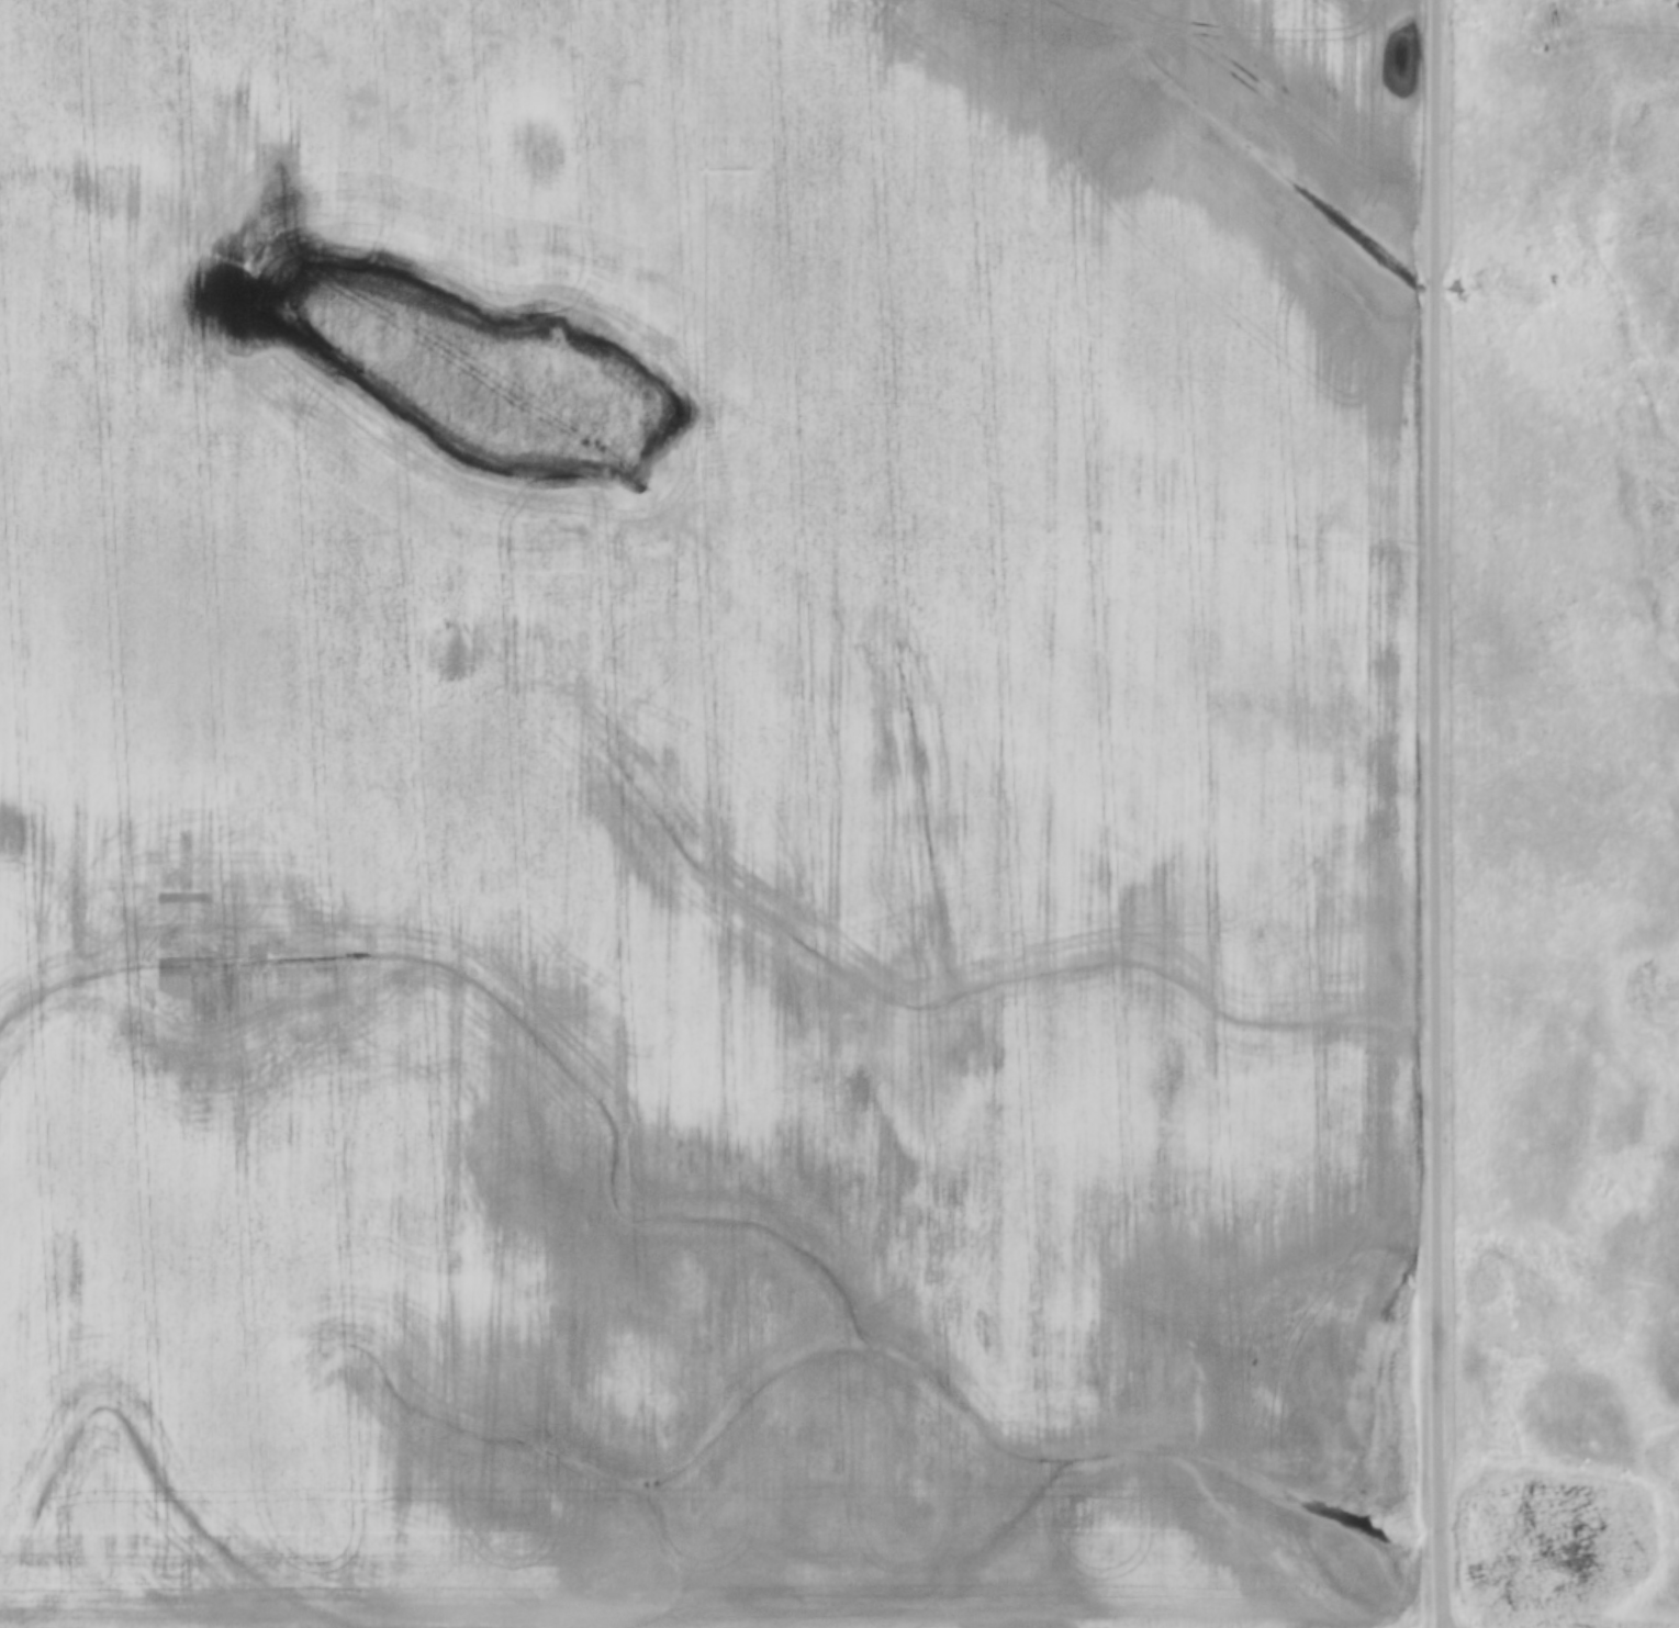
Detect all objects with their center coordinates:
road: (1432, 813)

